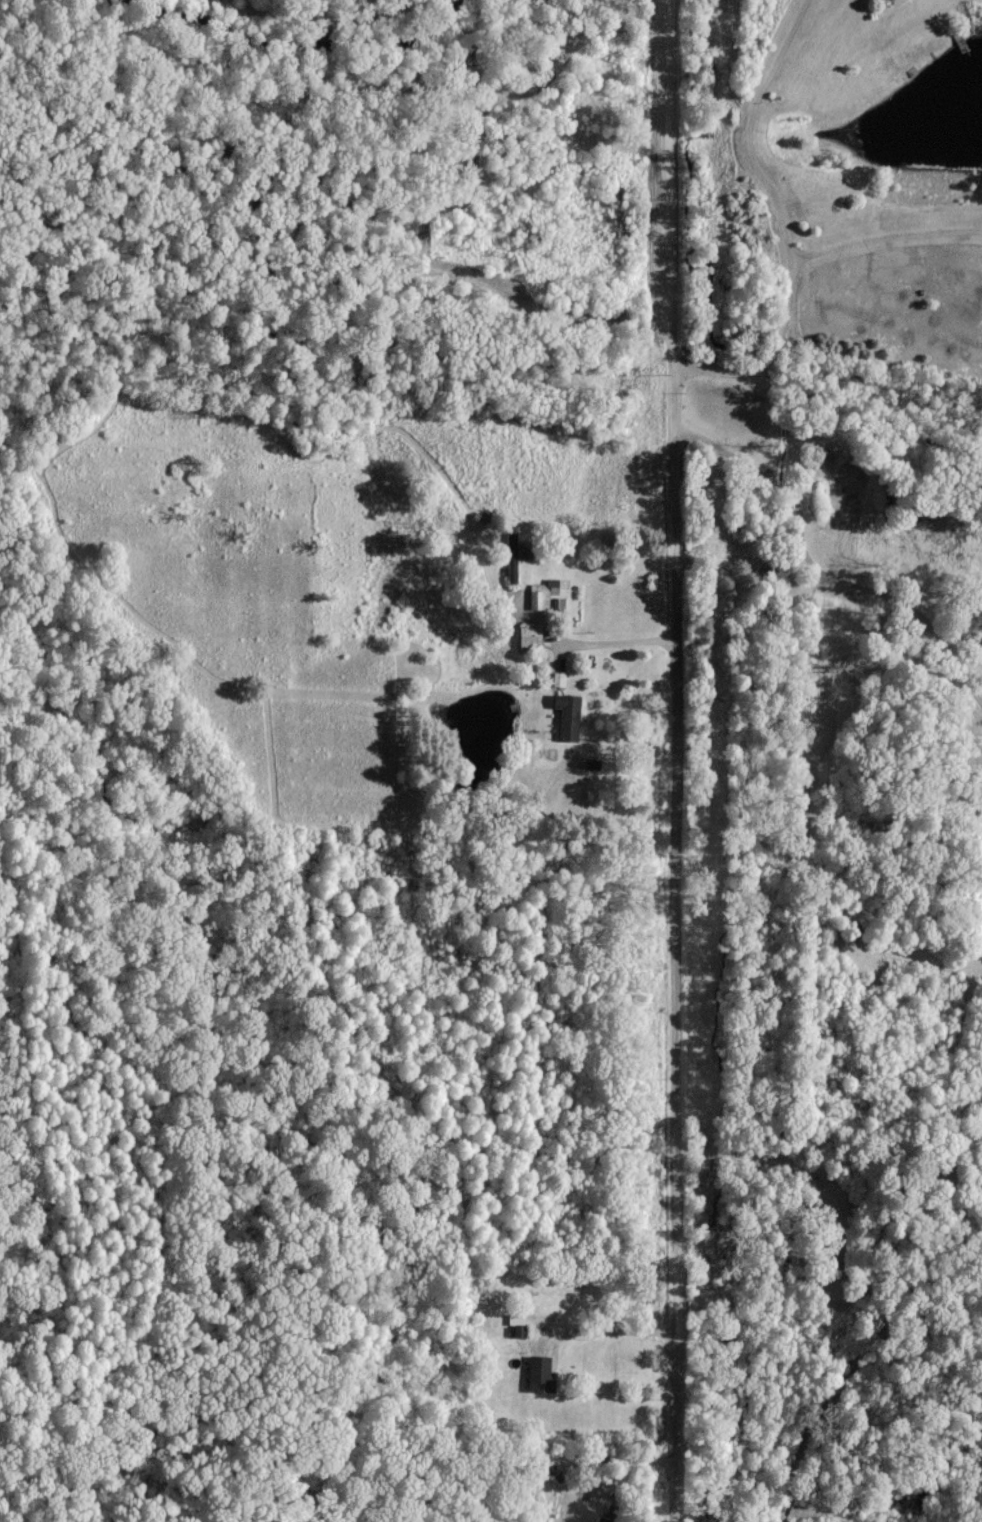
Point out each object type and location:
road: (785, 223)
road: (887, 238)
building: (523, 550)
road: (816, 569)
building: (541, 593)
building: (530, 636)
road: (618, 642)
building: (568, 715)
road: (674, 761)
road: (615, 1330)
building: (540, 1373)

